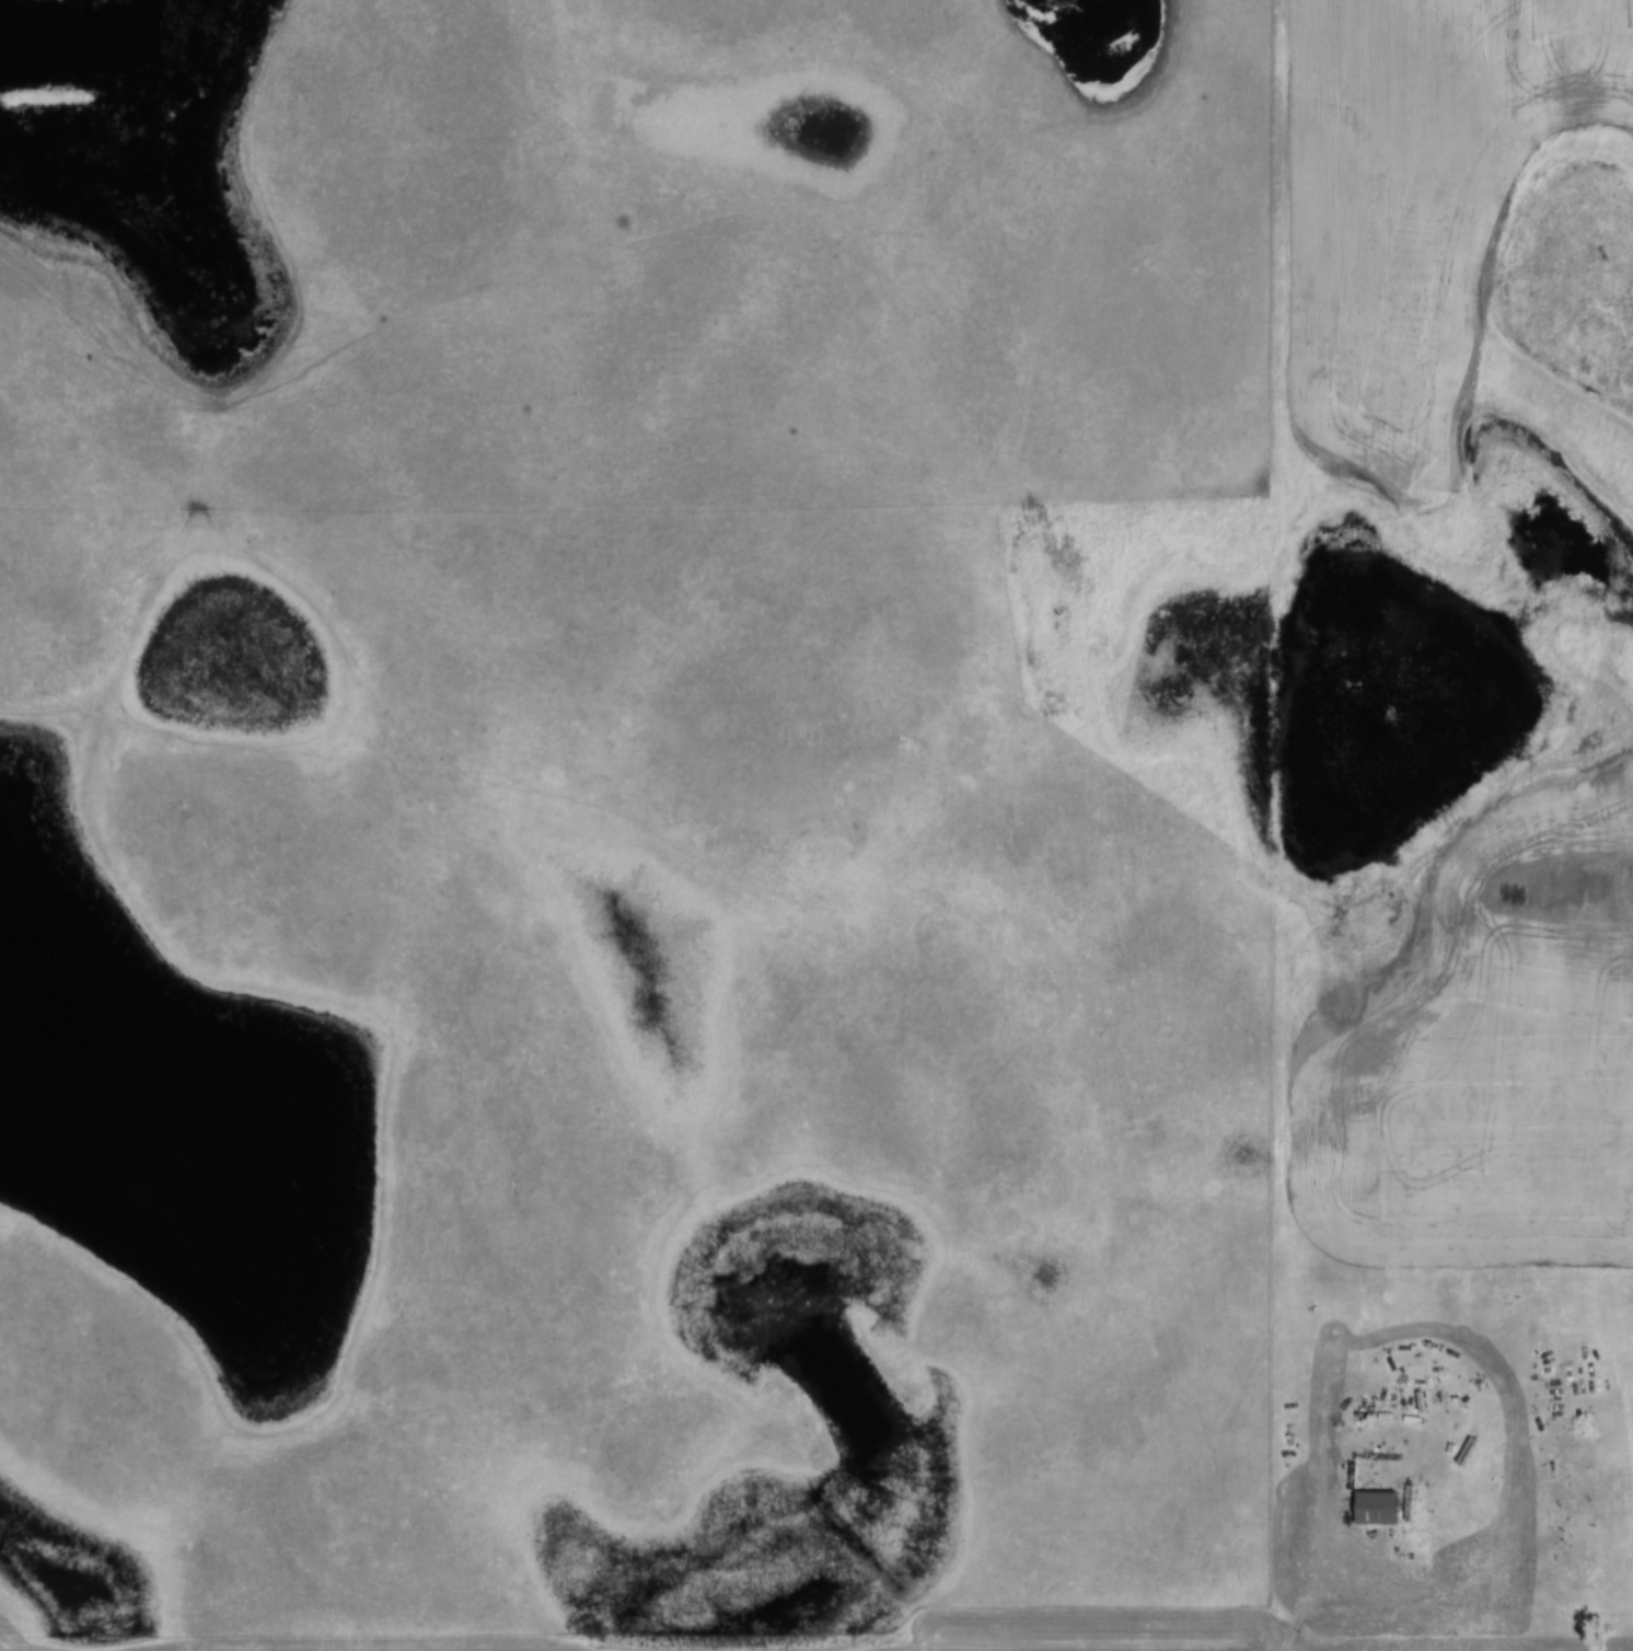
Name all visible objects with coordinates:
building: (1387, 1508)

